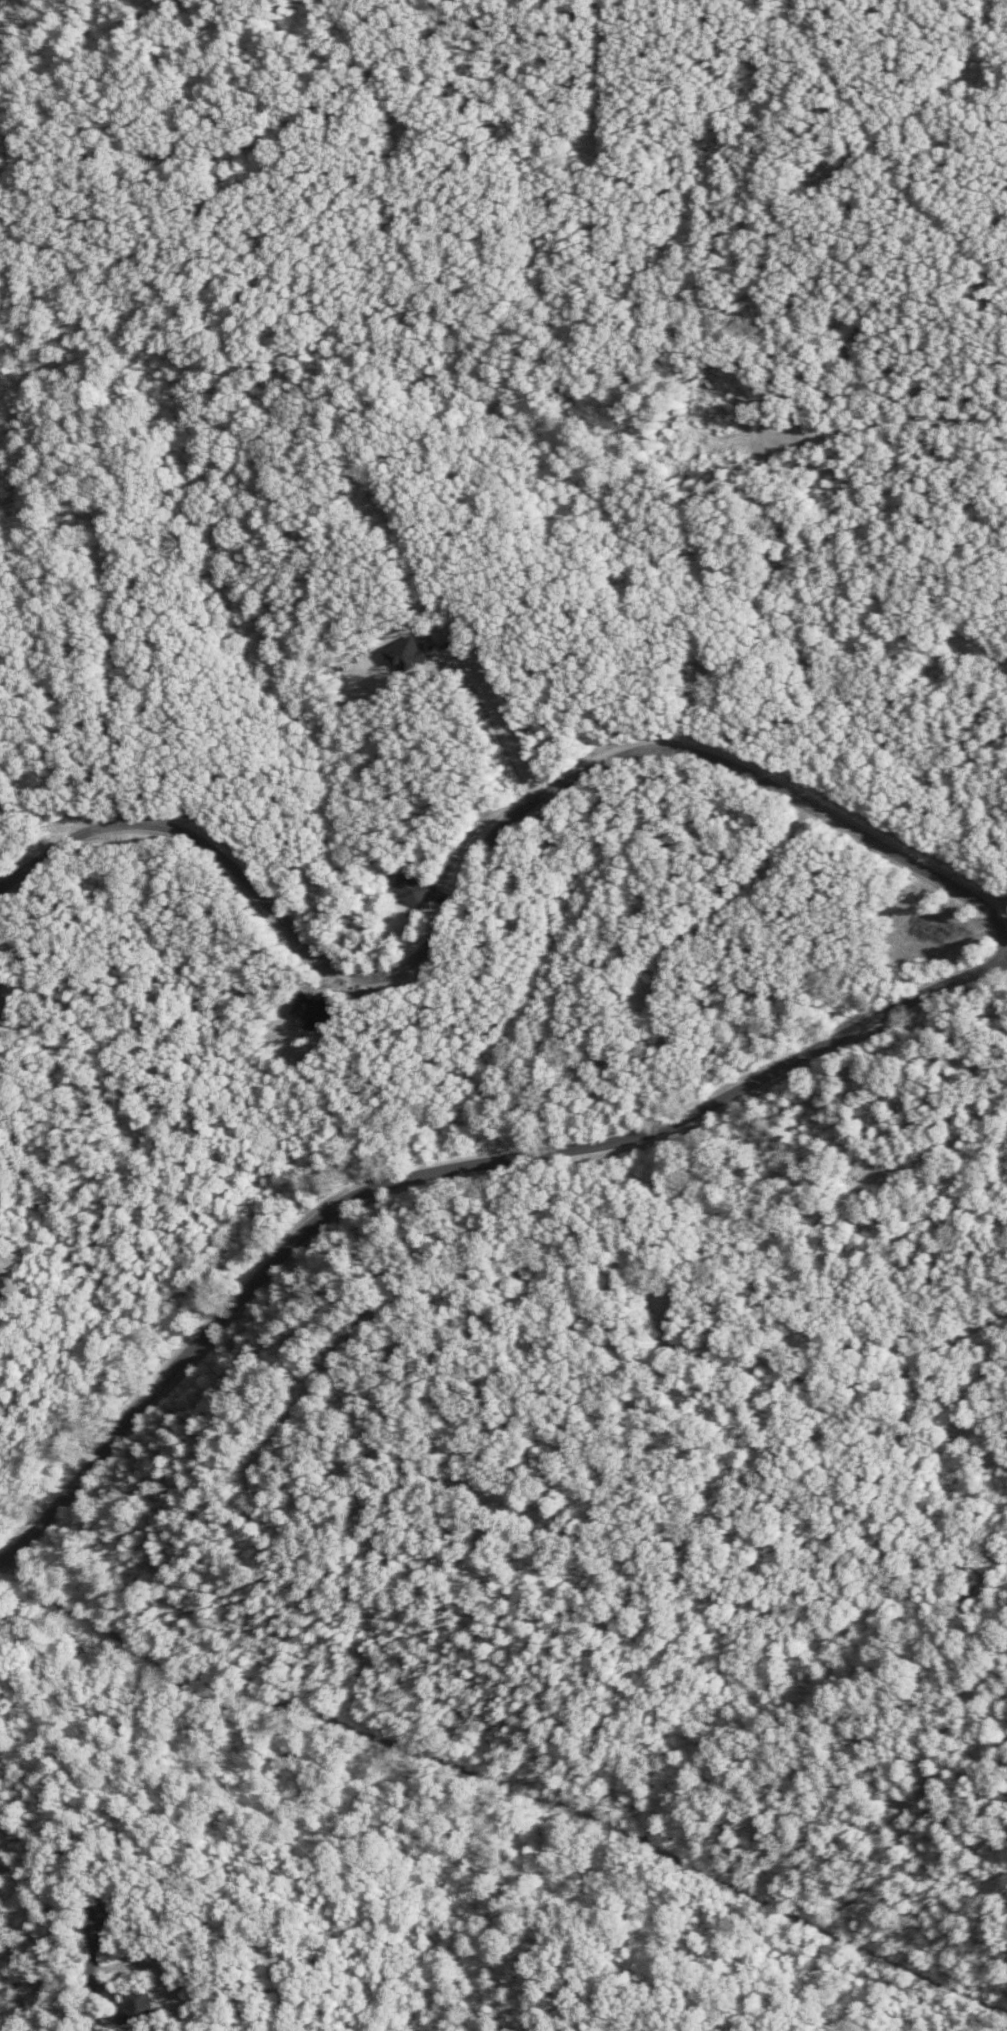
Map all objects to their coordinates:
road: (366, 32)
road: (607, 69)
road: (946, 83)
road: (405, 100)
road: (894, 138)
road: (266, 142)
road: (846, 153)
road: (859, 435)
road: (465, 643)
road: (1000, 652)
building: (406, 654)
road: (129, 683)
road: (701, 708)
road: (39, 797)
road: (481, 863)
building: (412, 890)
road: (728, 900)
road: (8, 984)
road: (105, 1023)
road: (943, 1159)
road: (444, 1173)
building: (3, 1289)
road: (665, 1323)
road: (921, 1367)
road: (263, 1452)
road: (951, 1753)
road: (506, 1785)
road: (95, 1976)
road: (288, 1994)
building: (137, 2004)

